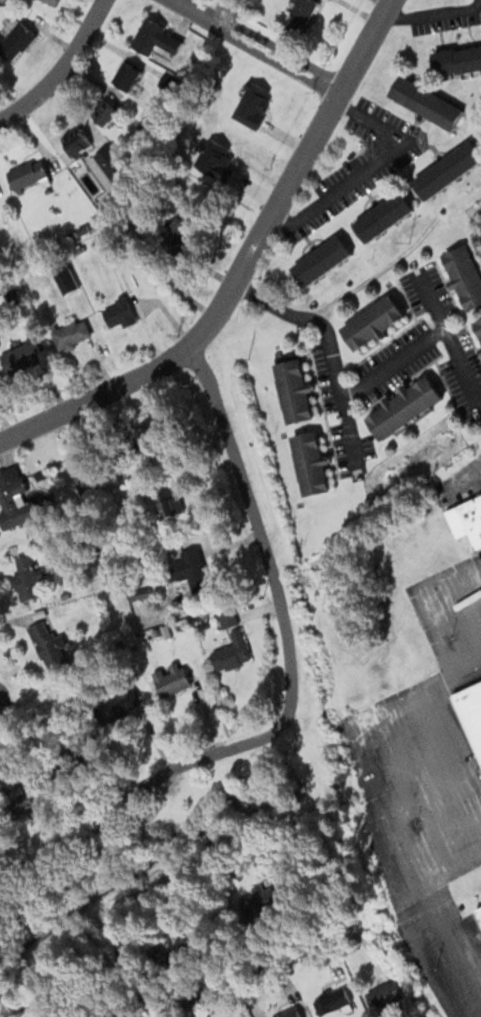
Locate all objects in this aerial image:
building: (51, 2)
road: (430, 14)
building: (299, 17)
building: (155, 38)
building: (15, 41)
road: (255, 49)
building: (457, 59)
road: (57, 64)
building: (126, 76)
building: (426, 102)
building: (104, 112)
building: (75, 140)
building: (110, 163)
building: (447, 170)
road: (364, 171)
building: (27, 173)
building: (383, 216)
building: (179, 228)
building: (113, 248)
building: (321, 260)
building: (466, 275)
building: (64, 279)
building: (118, 314)
building: (373, 322)
building: (478, 326)
building: (70, 335)
road: (199, 335)
road: (448, 337)
road: (328, 350)
road: (393, 365)
building: (294, 391)
road: (94, 398)
building: (405, 407)
building: (142, 441)
building: (311, 464)
building: (14, 499)
building: (166, 505)
building: (467, 521)
building: (191, 572)
building: (26, 579)
road: (425, 602)
building: (227, 619)
building: (48, 644)
building: (231, 651)
building: (171, 677)
building: (118, 707)
building: (470, 711)
road: (143, 786)
building: (25, 802)
road: (377, 807)
building: (263, 895)
building: (479, 911)
road: (260, 974)
building: (384, 994)
building: (331, 1001)
building: (289, 1013)

